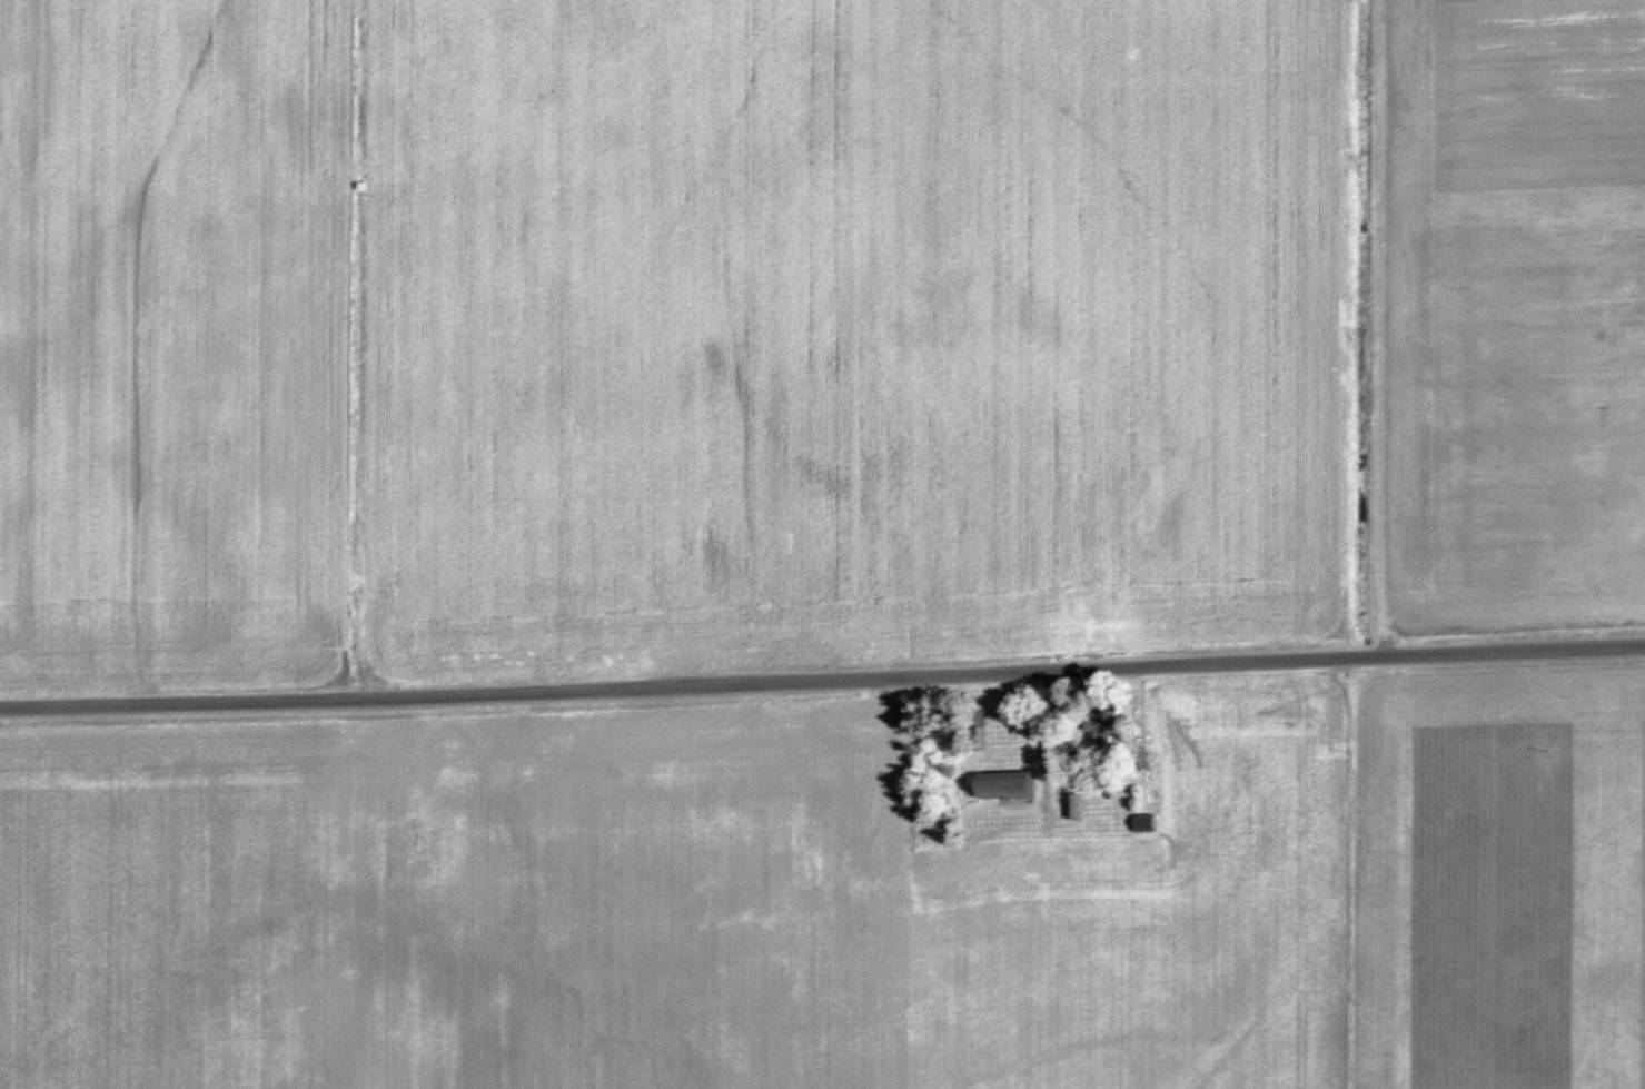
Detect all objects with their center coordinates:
road: (822, 680)
building: (1093, 725)
building: (998, 784)
building: (1068, 805)
building: (1139, 823)

